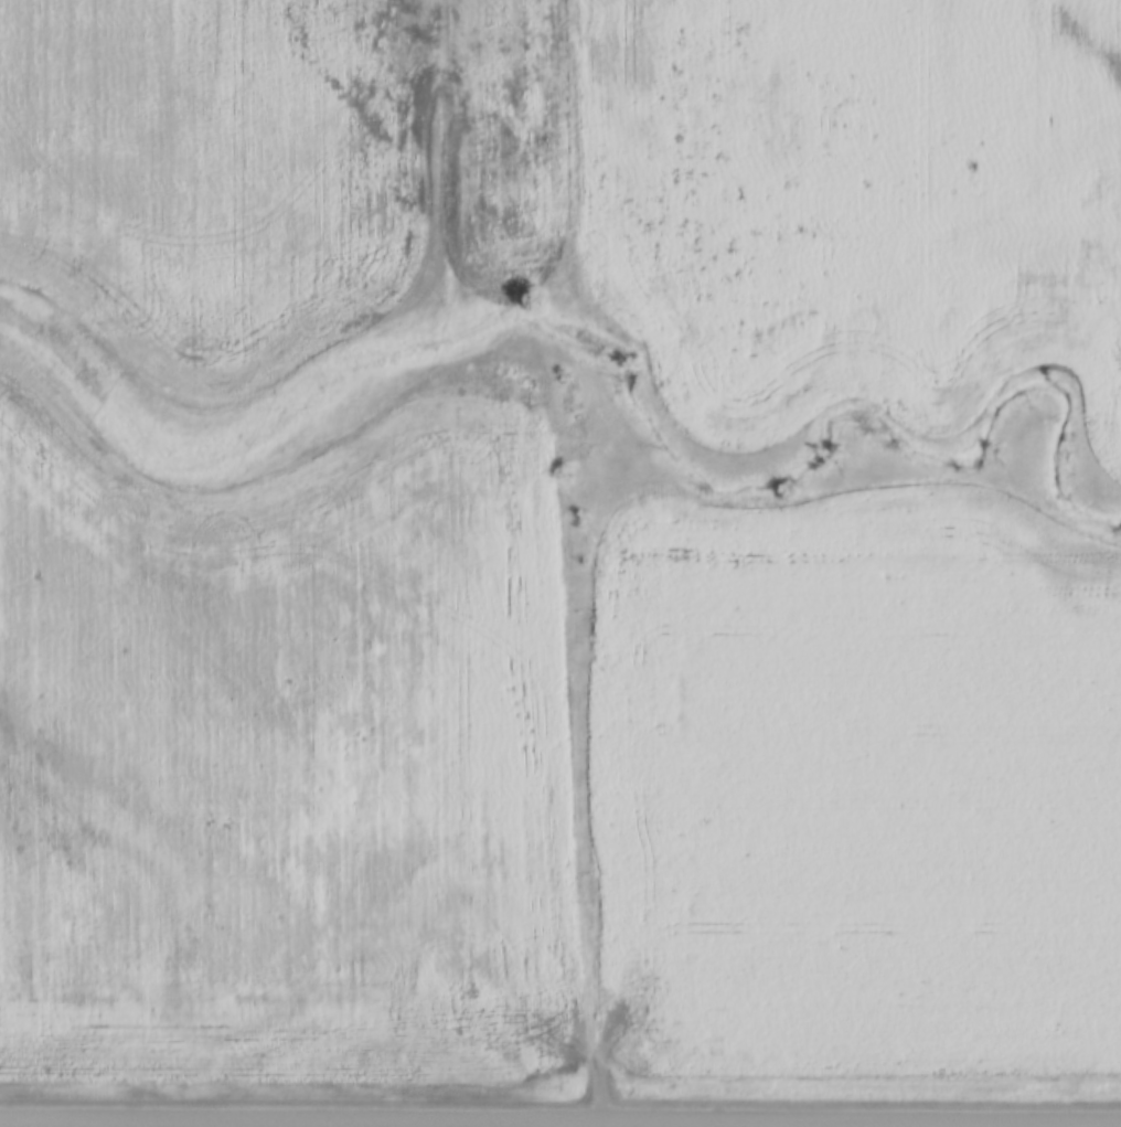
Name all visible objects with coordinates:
road: (560, 1116)
road: (598, 1121)

